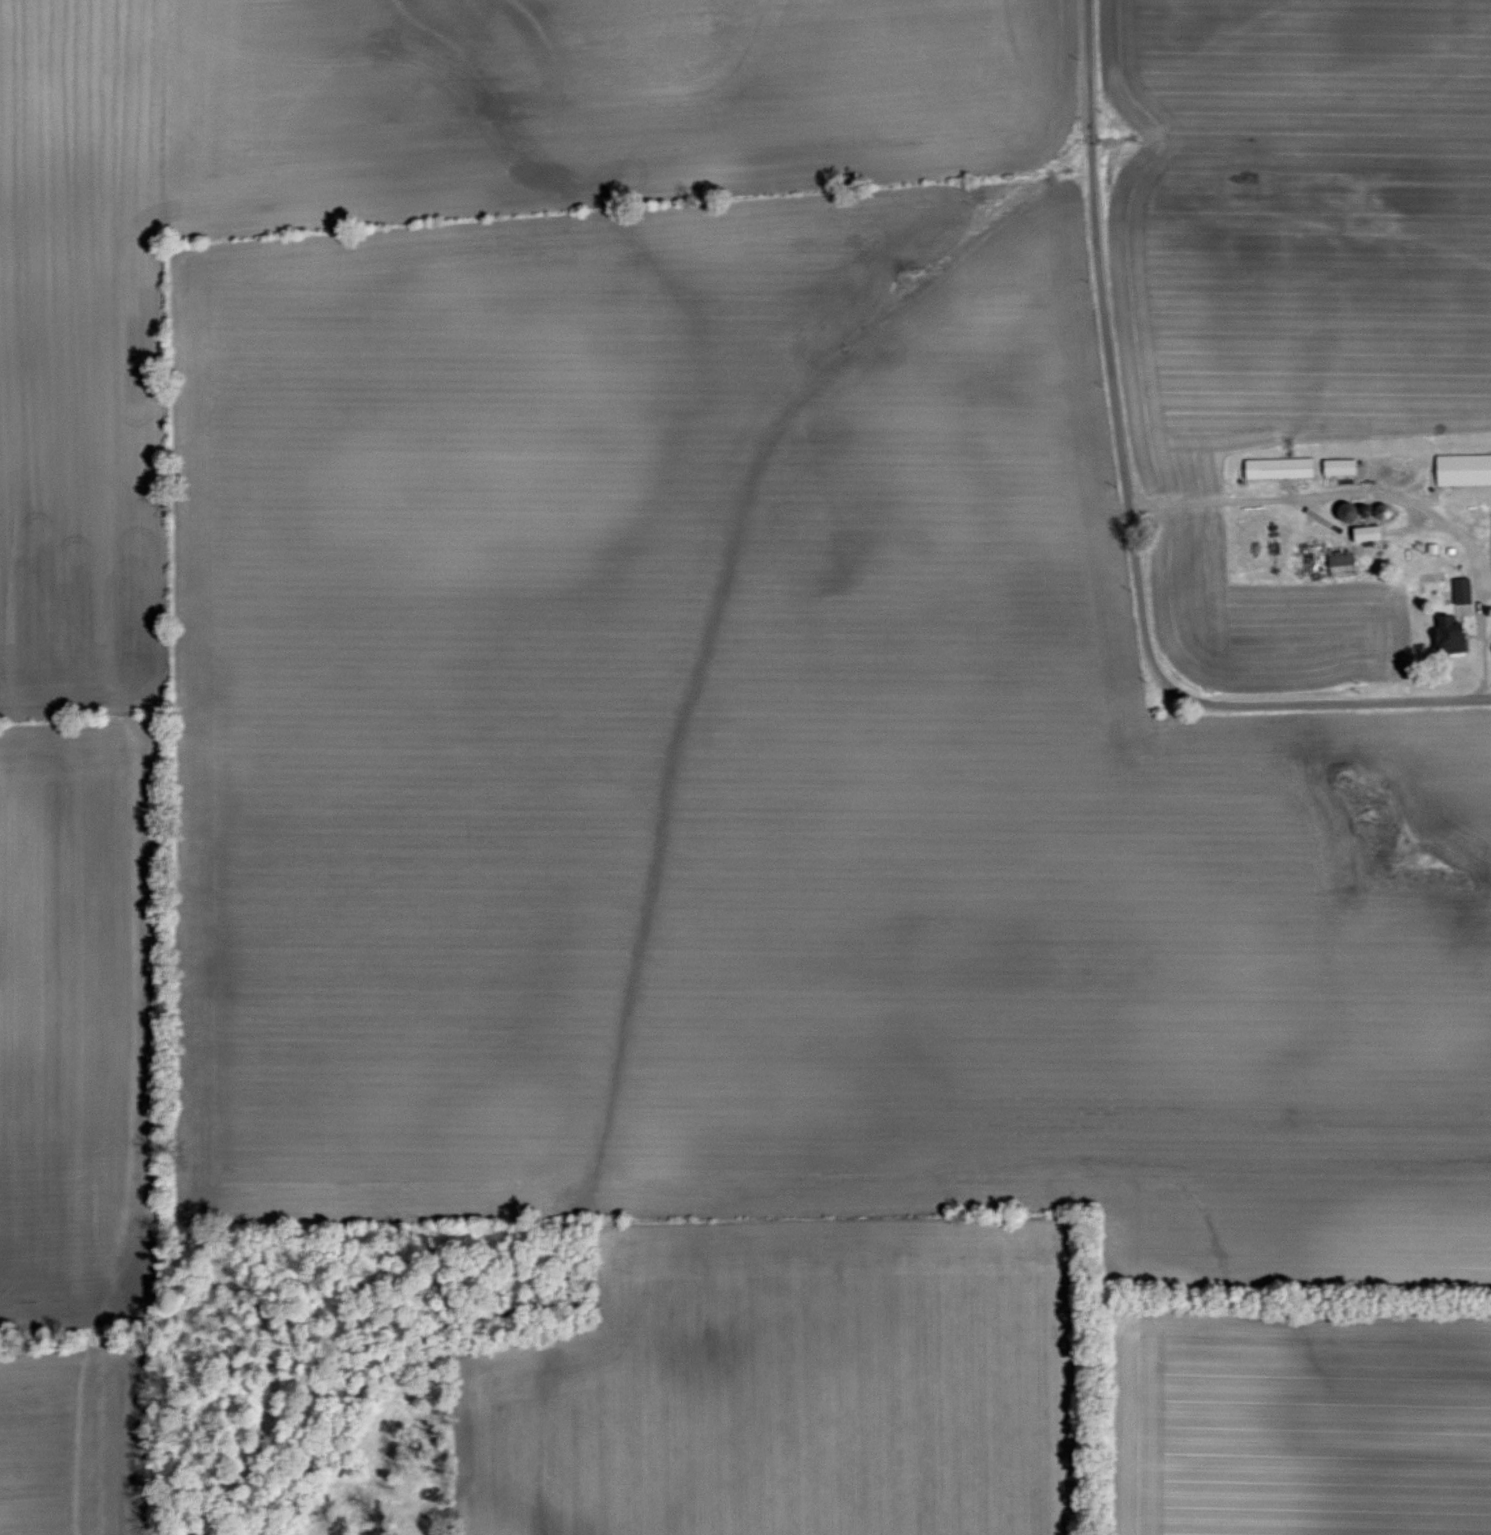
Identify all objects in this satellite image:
road: (1107, 345)
building: (1340, 467)
building: (1279, 469)
building: (1463, 470)
road: (1323, 499)
building: (1363, 533)
building: (1341, 565)
building: (1461, 591)
building: (1449, 635)
road: (1484, 639)
road: (1325, 701)

